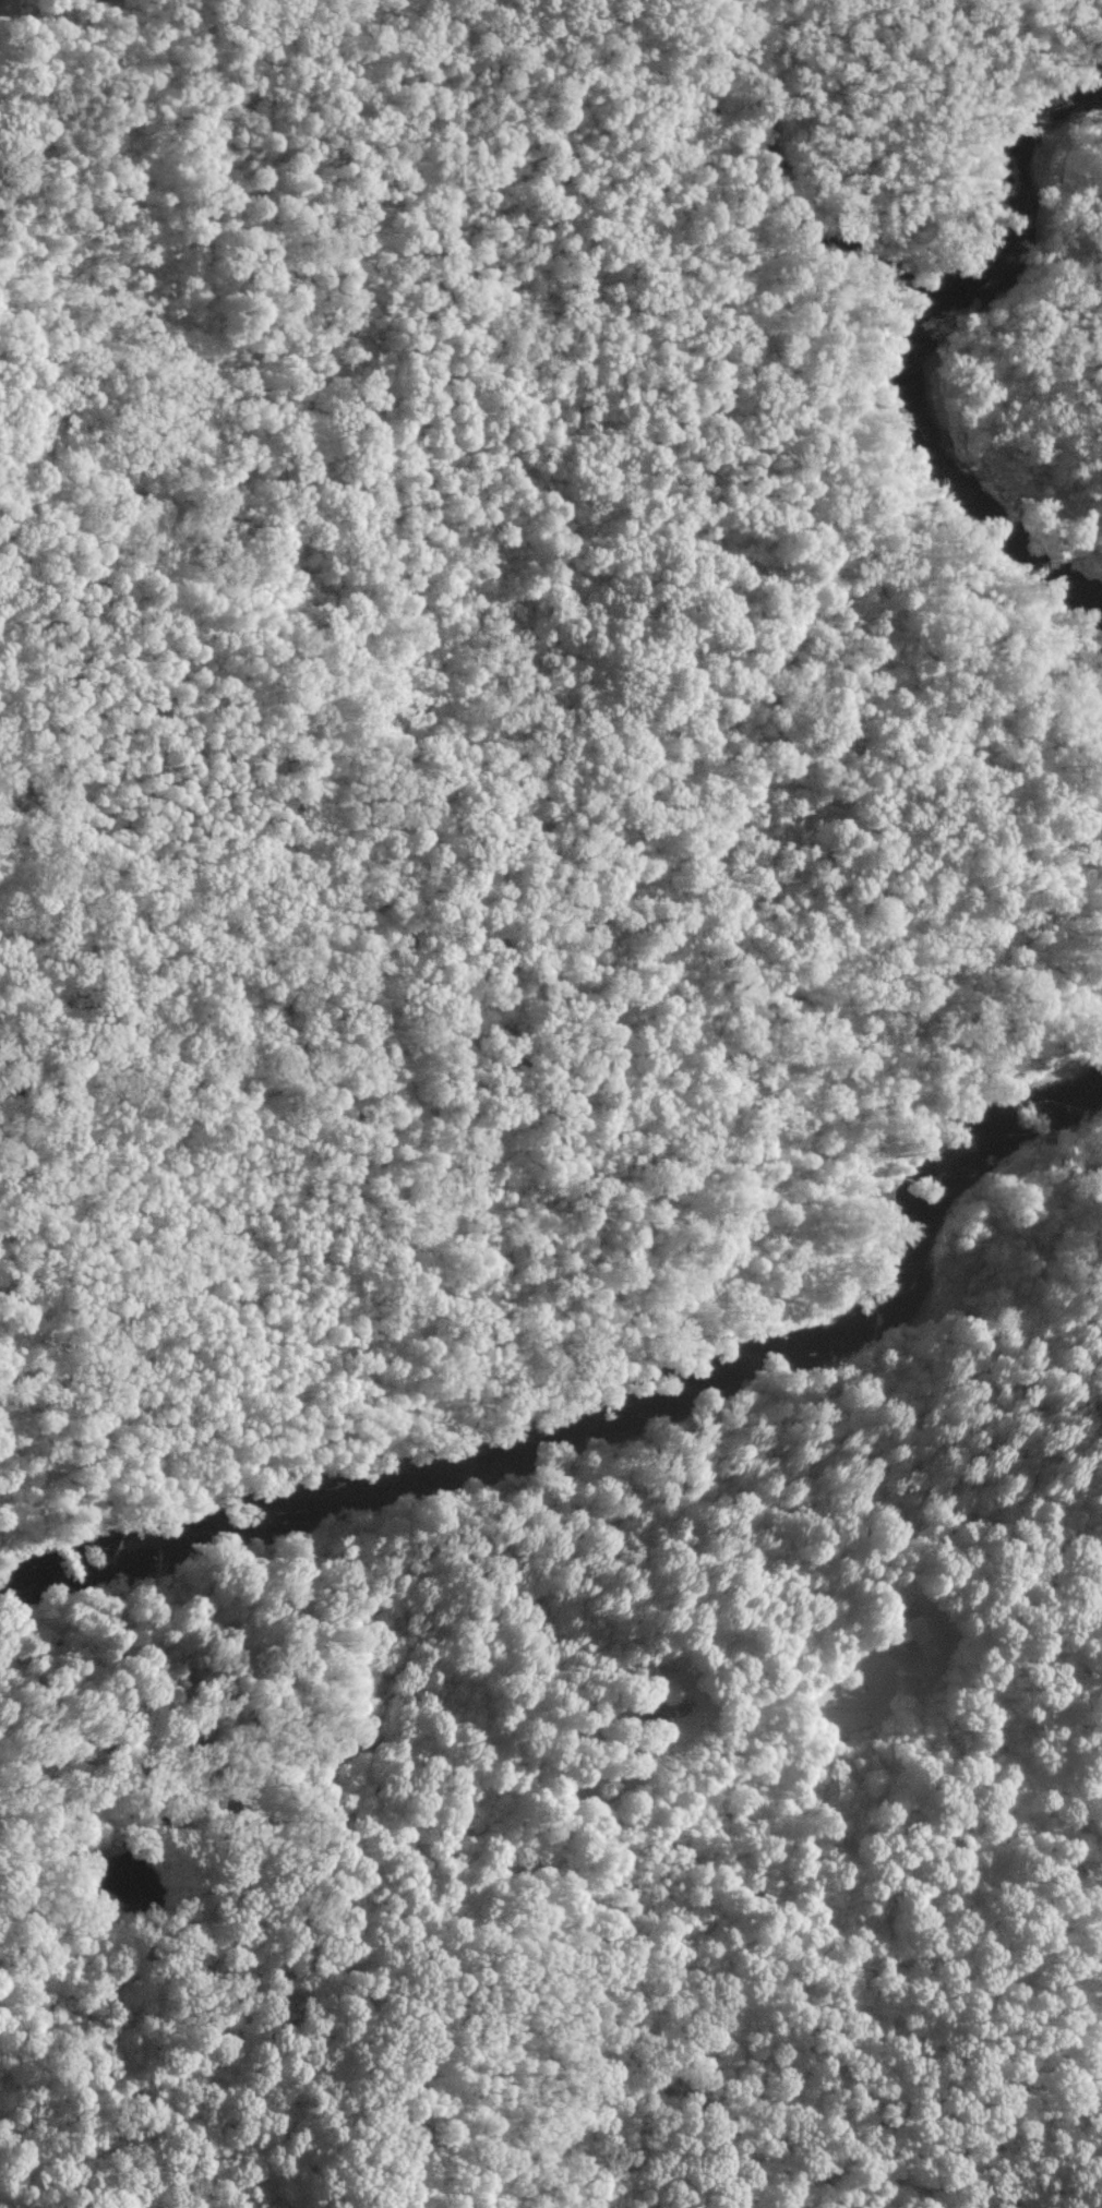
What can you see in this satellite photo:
road: (585, 57)
road: (32, 239)
river: (922, 338)
road: (29, 427)
road: (601, 473)
road: (760, 958)
road: (496, 1171)
river: (620, 1411)
building: (919, 1633)
road: (548, 1851)
road: (327, 1932)
road: (573, 2117)

